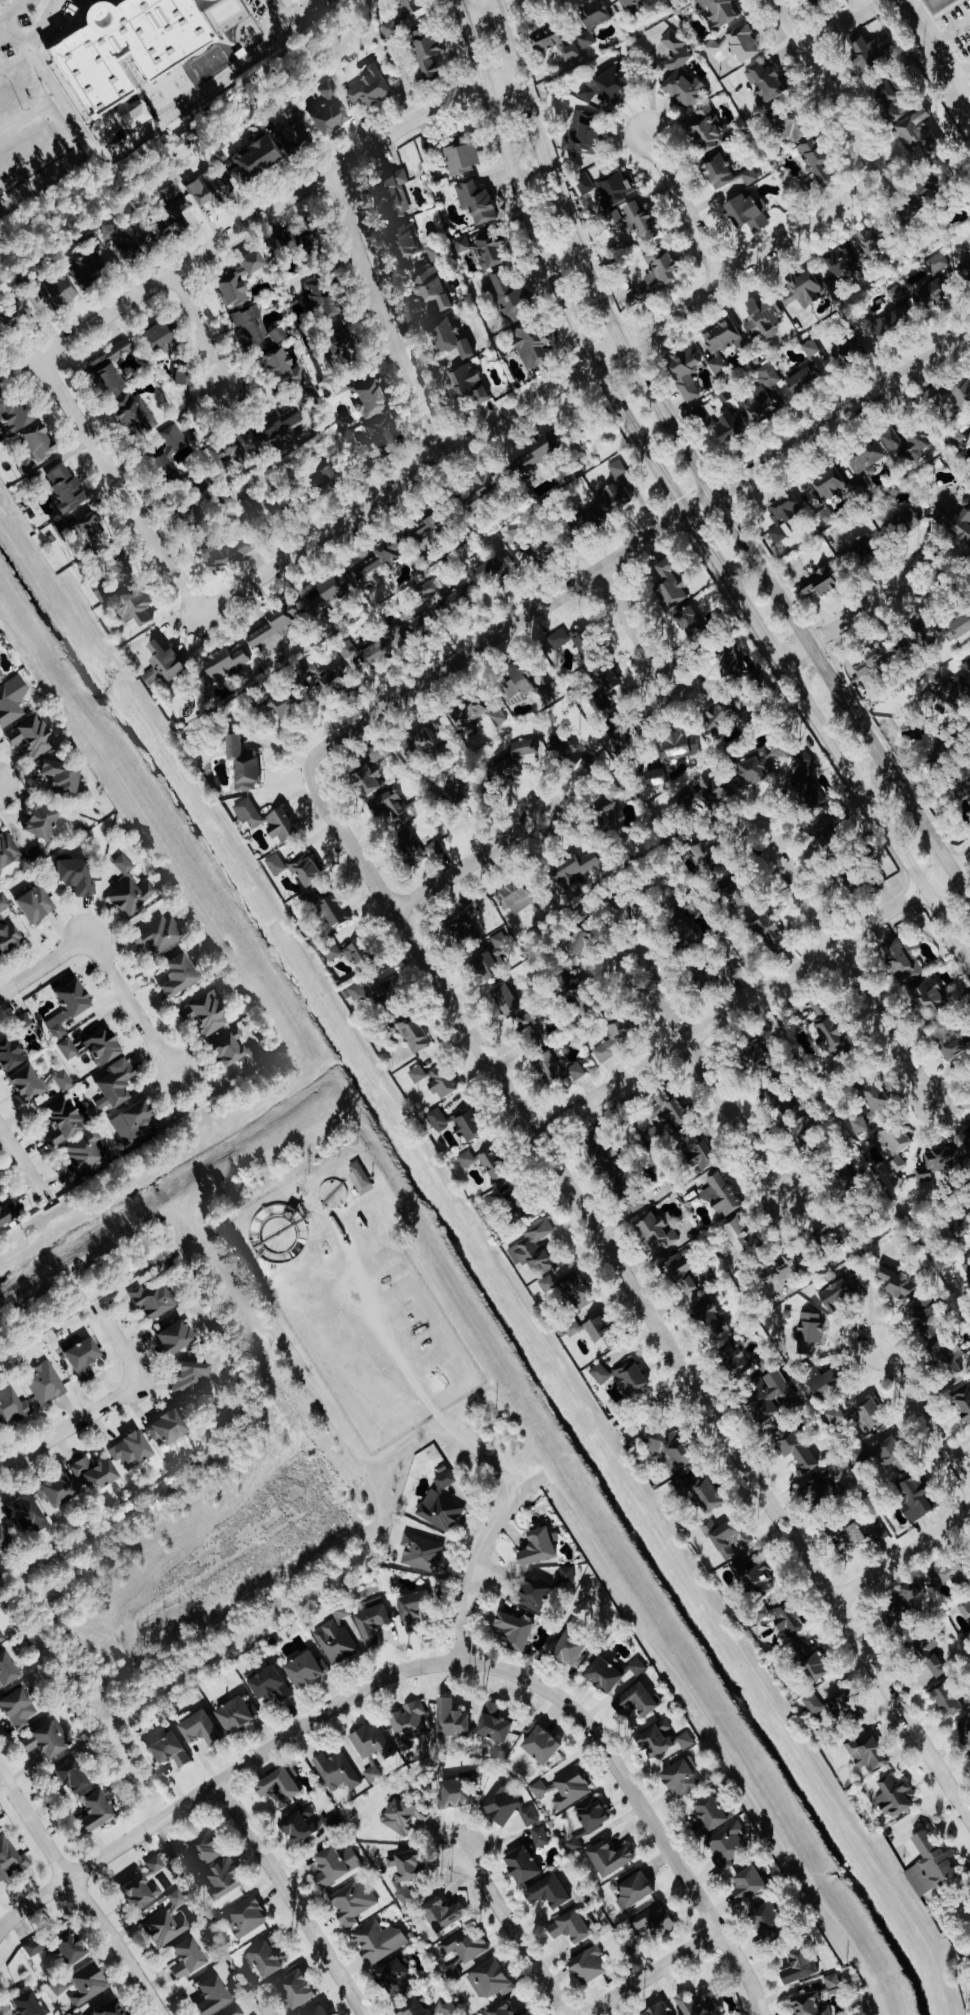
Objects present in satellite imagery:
road: (872, 1)
building: (817, 2)
road: (490, 3)
building: (412, 6)
building: (632, 6)
road: (458, 8)
road: (485, 8)
building: (719, 12)
road: (291, 14)
building: (595, 14)
road: (8, 15)
road: (40, 23)
road: (836, 24)
building: (390, 28)
road: (952, 31)
building: (586, 40)
building: (556, 44)
building: (736, 45)
building: (123, 46)
road: (938, 48)
building: (873, 52)
road: (962, 69)
building: (681, 72)
building: (766, 81)
building: (610, 85)
building: (369, 88)
building: (328, 89)
road: (829, 92)
building: (893, 99)
building: (134, 117)
building: (329, 117)
building: (794, 126)
building: (706, 128)
building: (295, 129)
building: (583, 133)
building: (918, 137)
road: (133, 139)
building: (453, 141)
building: (429, 146)
building: (256, 156)
building: (463, 159)
building: (816, 161)
building: (718, 171)
building: (235, 172)
building: (749, 176)
building: (585, 183)
building: (208, 188)
building: (614, 189)
building: (169, 191)
building: (394, 194)
building: (477, 202)
building: (920, 203)
road: (683, 206)
road: (273, 209)
building: (747, 213)
building: (614, 218)
building: (167, 220)
building: (641, 222)
building: (871, 237)
building: (403, 240)
building: (273, 247)
building: (304, 247)
building: (483, 250)
building: (100, 254)
building: (433, 254)
road: (584, 259)
building: (938, 262)
building: (840, 263)
building: (663, 267)
building: (237, 281)
building: (431, 289)
building: (55, 292)
building: (931, 295)
building: (509, 298)
building: (320, 302)
building: (11, 315)
building: (893, 316)
road: (384, 317)
building: (764, 318)
building: (255, 329)
road: (200, 333)
building: (157, 335)
building: (449, 338)
building: (723, 338)
building: (531, 346)
building: (338, 348)
building: (811, 348)
building: (848, 354)
building: (717, 364)
building: (278, 367)
building: (107, 370)
building: (685, 372)
building: (181, 377)
building: (804, 381)
building: (469, 385)
building: (766, 395)
building: (961, 395)
building: (362, 396)
building: (933, 396)
road: (531, 403)
building: (11, 413)
building: (131, 413)
building: (274, 424)
building: (719, 425)
building: (172, 439)
building: (957, 441)
building: (383, 442)
building: (226, 445)
building: (907, 445)
building: (33, 447)
building: (537, 452)
building: (865, 459)
building: (161, 469)
building: (327, 478)
building: (200, 483)
building: (830, 485)
building: (63, 488)
road: (118, 489)
building: (481, 490)
building: (608, 498)
building: (251, 504)
road: (682, 505)
building: (782, 517)
building: (955, 522)
building: (906, 523)
building: (426, 529)
building: (79, 532)
building: (516, 537)
road: (633, 546)
building: (244, 548)
building: (864, 550)
building: (528, 552)
building: (379, 558)
building: (215, 559)
building: (114, 562)
building: (498, 572)
building: (670, 584)
building: (821, 584)
building: (430, 589)
building: (328, 594)
building: (458, 602)
building: (136, 606)
road: (850, 617)
building: (689, 621)
building: (275, 624)
road: (631, 627)
building: (417, 628)
building: (960, 630)
building: (924, 633)
building: (558, 639)
building: (585, 645)
building: (366, 656)
building: (873, 660)
building: (731, 663)
building: (225, 664)
building: (163, 665)
building: (0, 677)
building: (323, 681)
building: (517, 686)
building: (603, 688)
building: (550, 692)
building: (955, 693)
road: (842, 694)
building: (929, 699)
building: (11, 701)
building: (283, 706)
building: (477, 717)
building: (728, 718)
building: (30, 738)
building: (419, 742)
building: (678, 747)
building: (525, 748)
building: (941, 752)
building: (378, 753)
building: (573, 758)
building: (804, 759)
building: (243, 764)
building: (761, 764)
building: (503, 775)
building: (59, 777)
building: (656, 778)
building: (368, 780)
building: (969, 785)
building: (467, 791)
building: (715, 792)
building: (805, 793)
road: (555, 806)
building: (395, 807)
building: (608, 815)
building: (267, 822)
building: (38, 832)
building: (828, 839)
building: (416, 847)
building: (7, 849)
building: (123, 864)
building: (275, 865)
road: (461, 871)
building: (575, 872)
building: (307, 873)
building: (74, 875)
building: (851, 884)
building: (737, 894)
building: (130, 896)
building: (515, 897)
building: (3, 902)
building: (34, 903)
building: (334, 912)
building: (582, 914)
building: (686, 932)
building: (769, 933)
building: (7, 934)
building: (156, 934)
building: (581, 944)
building: (331, 950)
building: (359, 955)
road: (625, 956)
building: (492, 958)
building: (902, 961)
road: (41, 967)
building: (176, 975)
road: (850, 975)
building: (384, 992)
building: (358, 993)
road: (751, 996)
building: (930, 998)
building: (506, 1000)
building: (583, 1000)
building: (819, 1005)
building: (66, 1006)
road: (126, 1007)
building: (203, 1013)
building: (19, 1022)
building: (530, 1031)
building: (413, 1033)
building: (831, 1035)
building: (616, 1039)
building: (956, 1043)
building: (101, 1046)
building: (66, 1048)
building: (232, 1048)
building: (9, 1052)
building: (762, 1057)
building: (558, 1068)
building: (60, 1080)
building: (435, 1080)
building: (24, 1083)
building: (113, 1084)
road: (711, 1084)
building: (877, 1102)
building: (669, 1109)
building: (437, 1119)
building: (62, 1121)
building: (132, 1121)
building: (469, 1124)
building: (859, 1125)
building: (652, 1135)
building: (804, 1136)
building: (967, 1141)
building: (893, 1148)
building: (696, 1151)
building: (84, 1152)
building: (606, 1156)
building: (467, 1159)
building: (937, 1162)
building: (493, 1164)
road: (24, 1167)
building: (360, 1177)
wastewater plant: (359, 1178)
building: (847, 1179)
building: (622, 1183)
road: (774, 1184)
wastewater plant: (331, 1195)
building: (721, 1196)
building: (521, 1202)
building: (636, 1202)
building: (6, 1213)
building: (658, 1229)
wastewater plant: (277, 1234)
building: (739, 1234)
building: (535, 1247)
building: (785, 1269)
building: (967, 1271)
building: (683, 1272)
building: (898, 1282)
building: (570, 1289)
building: (842, 1291)
road: (635, 1296)
building: (154, 1300)
building: (927, 1316)
building: (711, 1318)
building: (595, 1331)
building: (809, 1332)
building: (174, 1337)
road: (118, 1339)
building: (947, 1356)
building: (81, 1358)
road: (397, 1358)
building: (741, 1359)
building: (600, 1373)
building: (190, 1376)
building: (631, 1377)
building: (822, 1381)
building: (44, 1382)
building: (765, 1395)
building: (963, 1399)
road: (654, 1405)
building: (12, 1406)
building: (871, 1414)
road: (922, 1414)
building: (835, 1415)
road: (69, 1425)
building: (166, 1427)
building: (795, 1447)
building: (129, 1450)
building: (673, 1450)
building: (892, 1454)
building: (93, 1472)
building: (56, 1488)
building: (819, 1491)
building: (699, 1493)
building: (915, 1499)
building: (441, 1504)
building: (23, 1513)
building: (879, 1528)
building: (726, 1536)
building: (849, 1537)
building: (3, 1540)
building: (538, 1548)
building: (421, 1553)
road: (476, 1556)
road: (899, 1556)
road: (480, 1570)
building: (953, 1573)
building: (567, 1574)
building: (756, 1577)
building: (534, 1595)
building: (918, 1595)
building: (413, 1609)
building: (966, 1611)
building: (762, 1613)
building: (895, 1615)
building: (789, 1620)
building: (372, 1621)
building: (514, 1631)
building: (2, 1636)
building: (336, 1638)
building: (570, 1649)
building: (930, 1657)
building: (810, 1662)
building: (638, 1667)
building: (6, 1669)
building: (306, 1669)
building: (604, 1675)
building: (268, 1684)
building: (946, 1699)
building: (636, 1702)
building: (813, 1704)
building: (843, 1706)
building: (16, 1709)
building: (237, 1715)
building: (451, 1720)
building: (409, 1724)
building: (494, 1724)
building: (200, 1729)
building: (965, 1729)
building: (45, 1739)
building: (657, 1740)
building: (686, 1741)
building: (372, 1742)
building: (541, 1744)
building: (168, 1751)
building: (867, 1754)
building: (337, 1771)
building: (372, 1773)
building: (70, 1777)
building: (681, 1778)
road: (223, 1780)
building: (280, 1784)
building: (539, 1789)
building: (570, 1789)
building: (456, 1794)
building: (895, 1796)
road: (639, 1805)
building: (506, 1806)
building: (93, 1811)
building: (711, 1812)
building: (404, 1815)
building: (588, 1821)
building: (330, 1822)
building: (299, 1826)
building: (540, 1837)
building: (727, 1845)
building: (197, 1850)
building: (10, 1859)
building: (610, 1859)
building: (152, 1865)
building: (335, 1865)
building: (522, 1865)
building: (930, 1865)
building: (406, 1873)
building: (221, 1879)
building: (749, 1884)
building: (634, 1891)
building: (137, 1892)
building: (548, 1893)
road: (80, 1895)
building: (177, 1899)
road: (290, 1899)
building: (353, 1902)
building: (444, 1914)
building: (246, 1917)
building: (768, 1921)
building: (650, 1927)
building: (164, 1928)
building: (571, 1928)
road: (514, 1931)
building: (379, 1942)
building: (465, 1945)
building: (64, 1947)
building: (29, 1950)
building: (186, 1958)
building: (265, 1959)
building: (799, 1965)
building: (588, 1966)
building: (452, 1971)
road: (651, 1972)
building: (395, 1979)
building: (490, 1981)
building: (832, 1981)
building: (86, 1984)
building: (60, 1986)
building: (296, 1990)
building: (211, 1996)
building: (28, 2005)
building: (696, 2005)
building: (810, 2005)
building: (106, 2008)
building: (413, 2008)
building: (446, 2008)
building: (233, 2011)
building: (318, 2011)
building: (506, 2011)
building: (658, 2011)

